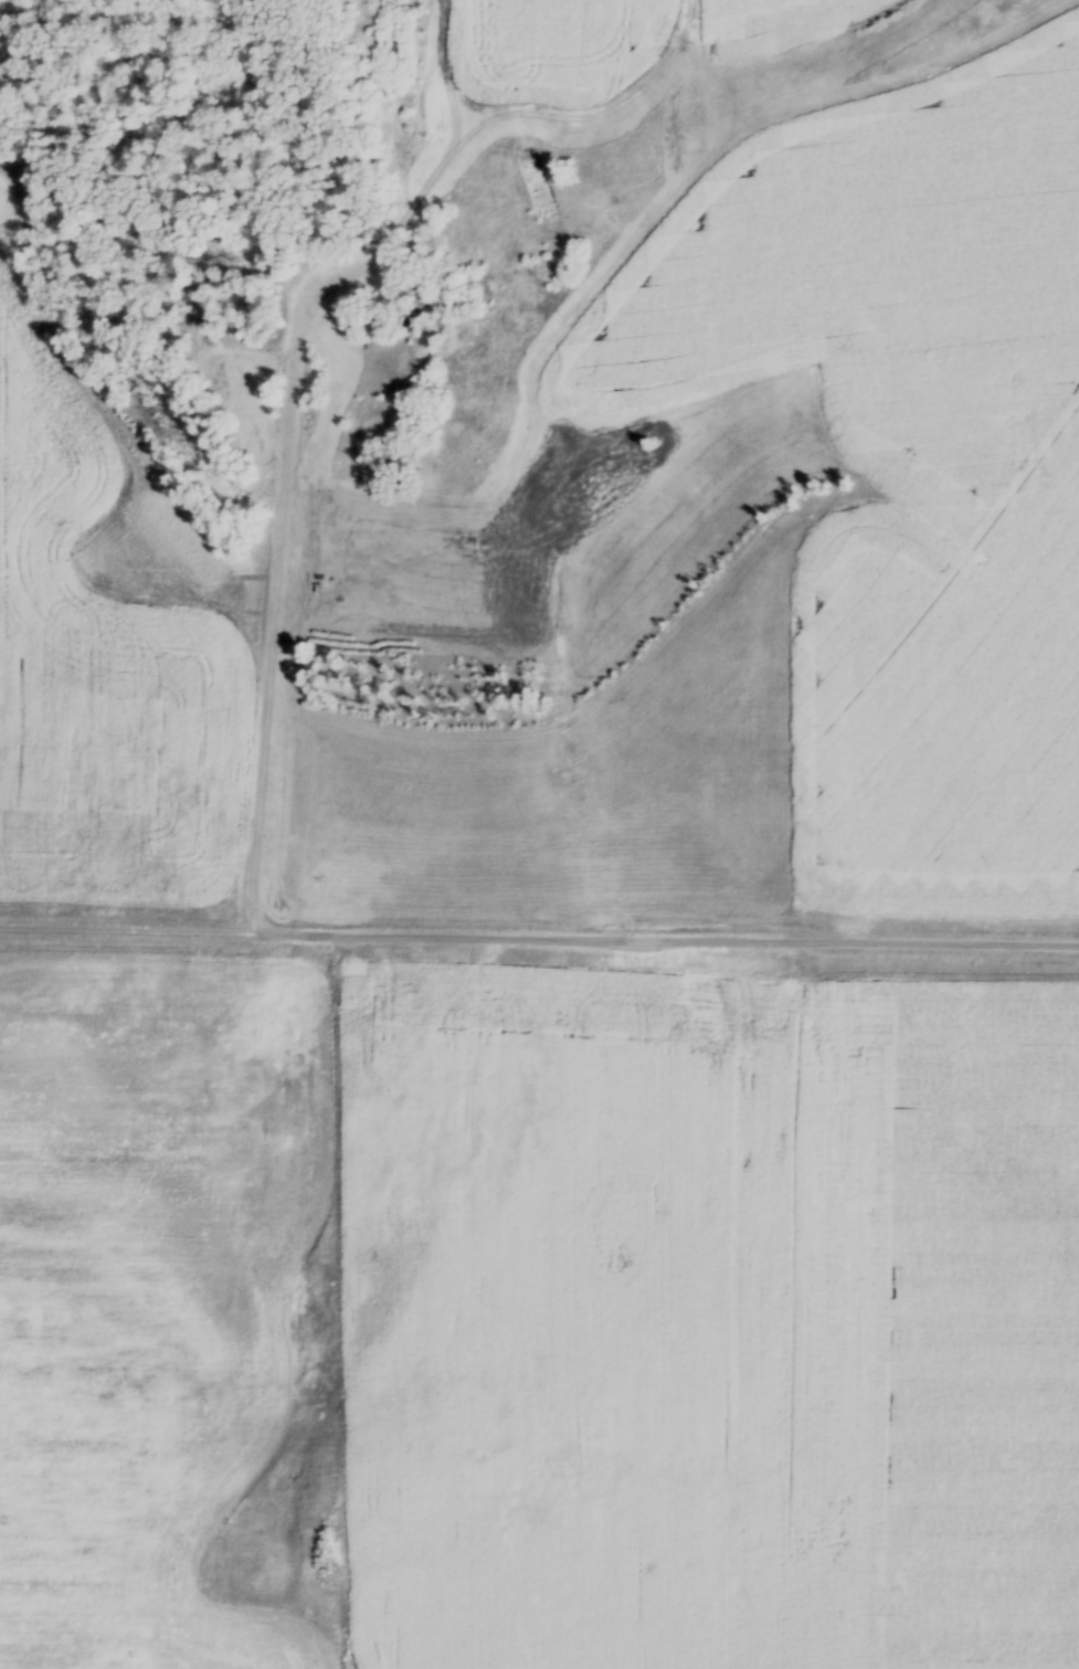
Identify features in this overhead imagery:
road: (88, 411)
road: (287, 431)
road: (261, 772)
road: (539, 933)
power tower: (339, 964)
power tower: (794, 973)

